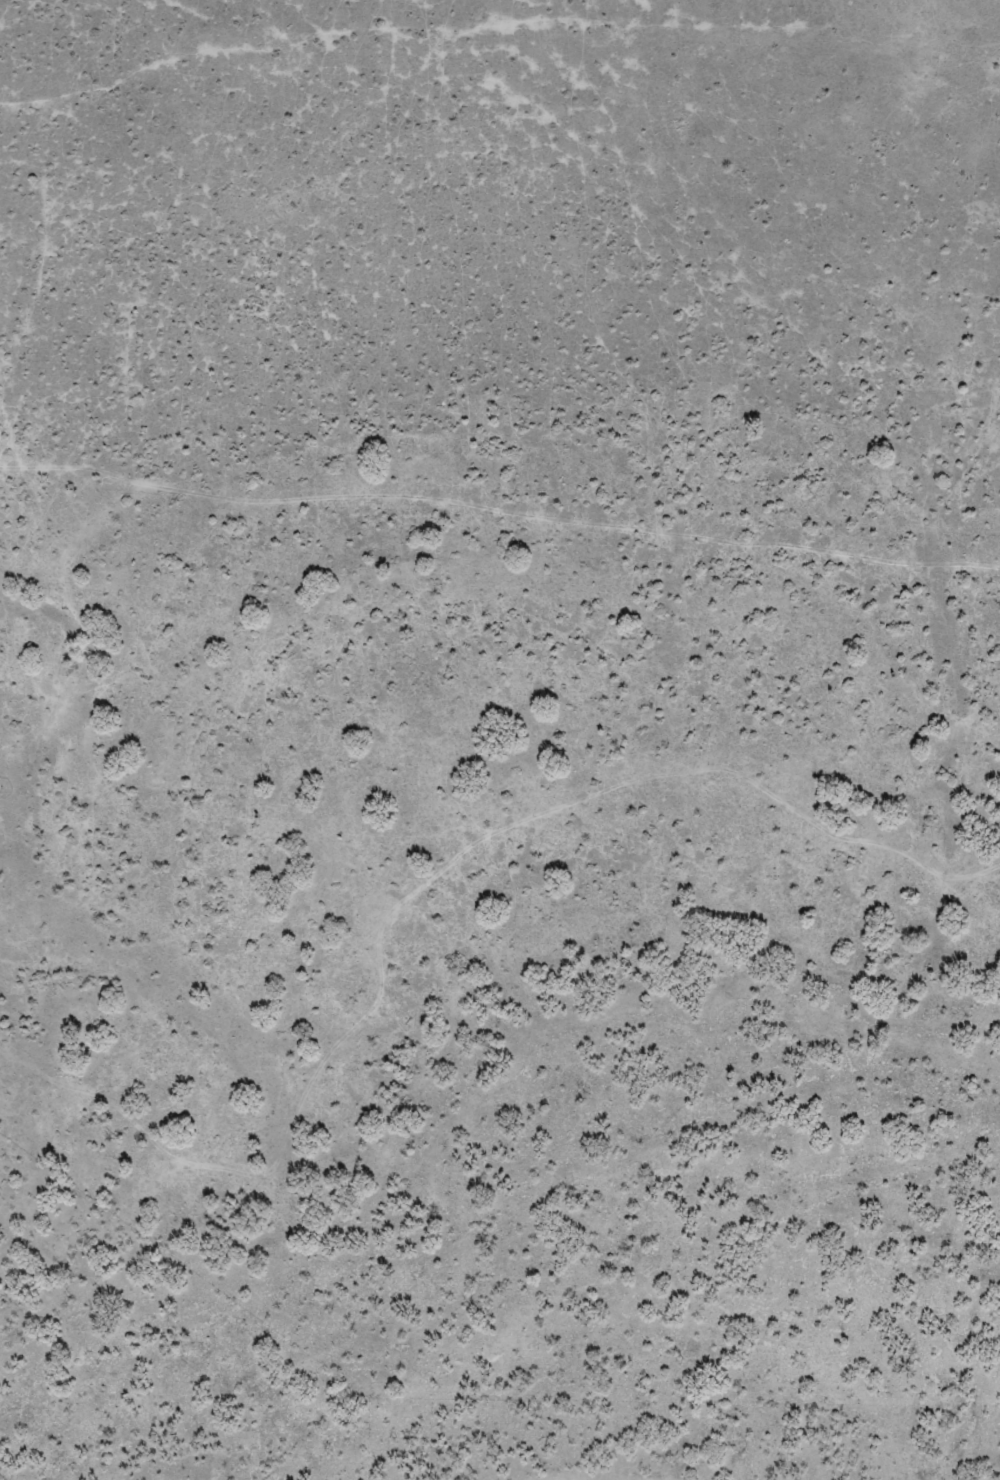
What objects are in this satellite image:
road: (500, 515)

